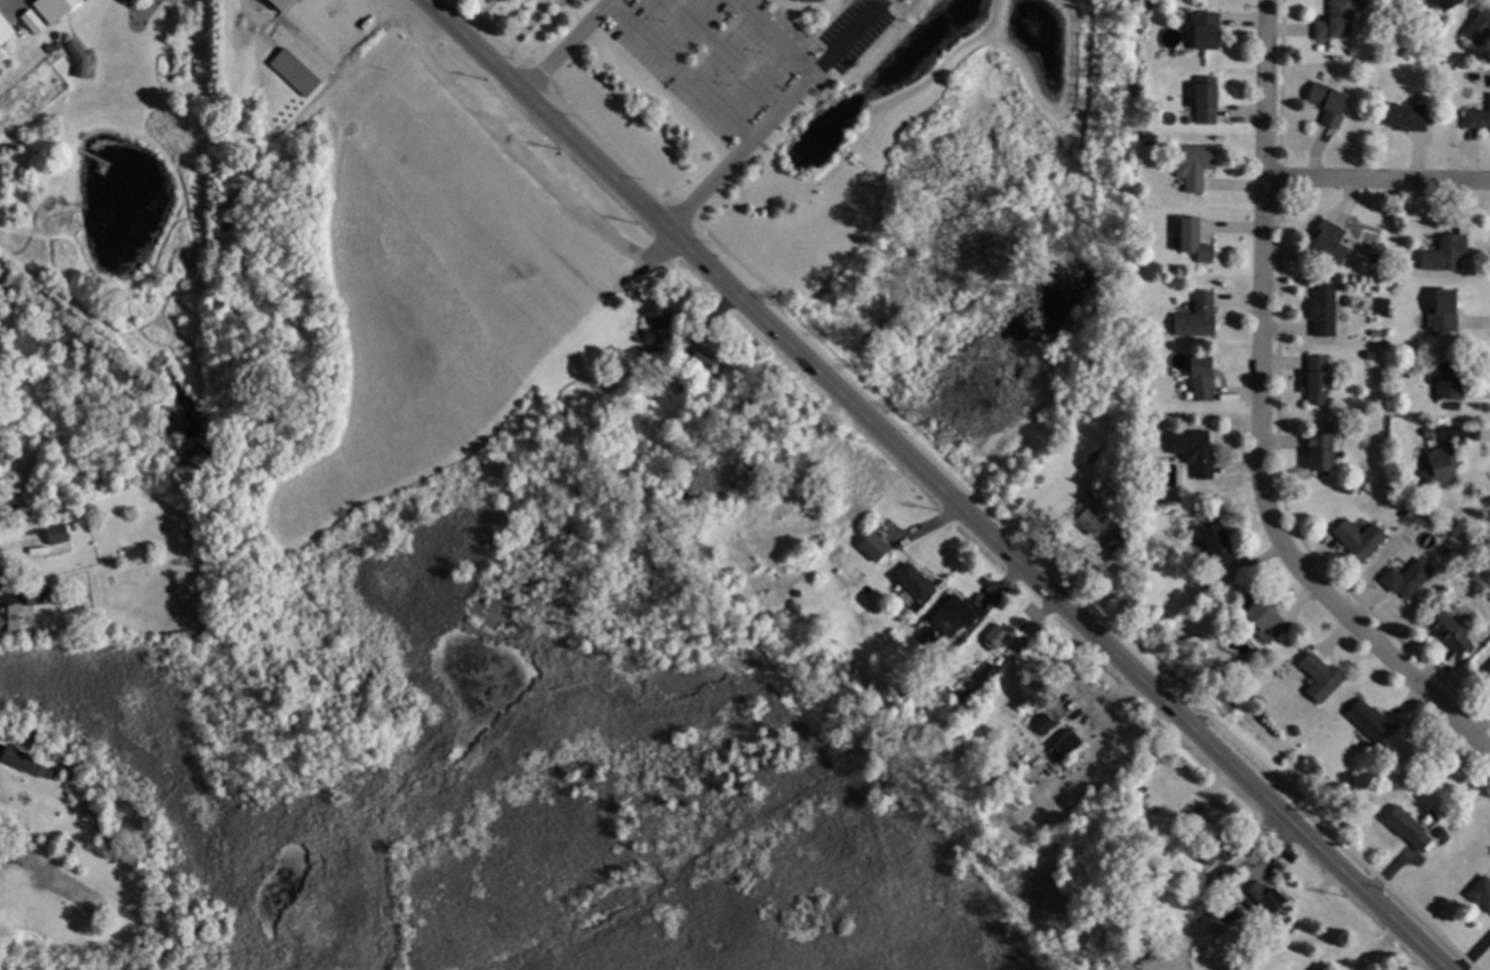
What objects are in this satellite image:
building: (813, 0)
building: (1421, 0)
building: (1424, 0)
building: (360, 1)
road: (608, 2)
building: (1449, 3)
building: (283, 4)
building: (56, 8)
road: (475, 16)
building: (1337, 21)
building: (34, 22)
building: (1480, 26)
building: (1207, 29)
building: (6, 31)
road: (518, 31)
road: (773, 37)
road: (565, 48)
building: (76, 50)
road: (724, 53)
parking lot: (711, 55)
road: (818, 69)
road: (679, 71)
building: (296, 72)
building: (1208, 100)
building: (1330, 103)
building: (1408, 117)
building: (1477, 119)
building: (1152, 143)
building: (48, 145)
road: (521, 158)
building: (1199, 166)
building: (101, 169)
road: (1377, 181)
road: (708, 183)
building: (1196, 240)
building: (1331, 242)
building: (1143, 247)
building: (1447, 253)
building: (1401, 256)
building: (1379, 259)
building: (1351, 301)
building: (1325, 309)
building: (1445, 311)
building: (1199, 317)
building: (658, 322)
building: (1377, 333)
building: (686, 342)
building: (1372, 354)
building: (705, 359)
building: (1203, 377)
building: (1319, 381)
building: (1451, 381)
building: (1455, 406)
road: (1257, 422)
building: (60, 424)
building: (1196, 451)
building: (1322, 451)
building: (10, 454)
building: (3, 461)
building: (1442, 468)
road: (935, 486)
building: (34, 502)
building: (17, 508)
building: (1406, 512)
building: (1090, 520)
building: (1124, 522)
building: (59, 534)
building: (1114, 538)
building: (1361, 538)
building: (958, 545)
building: (1218, 545)
building: (872, 547)
building: (1447, 550)
building: (1488, 553)
building: (1408, 578)
building: (917, 582)
building: (1214, 587)
building: (62, 591)
building: (39, 594)
building: (957, 615)
building: (10, 617)
building: (1267, 621)
building: (1451, 631)
building: (998, 635)
building: (991, 671)
building: (1488, 671)
building: (1322, 678)
building: (973, 687)
building: (907, 688)
building: (1021, 690)
building: (962, 697)
building: (1373, 721)
building: (1045, 724)
building: (1298, 730)
building: (1069, 744)
building: (16, 757)
building: (39, 769)
building: (50, 774)
building: (1015, 794)
building: (1409, 827)
building: (1439, 832)
building: (53, 837)
building: (1220, 849)
building: (1218, 880)
building: (1482, 892)
road: (1227, 895)
building: (1268, 897)
building: (1329, 968)

